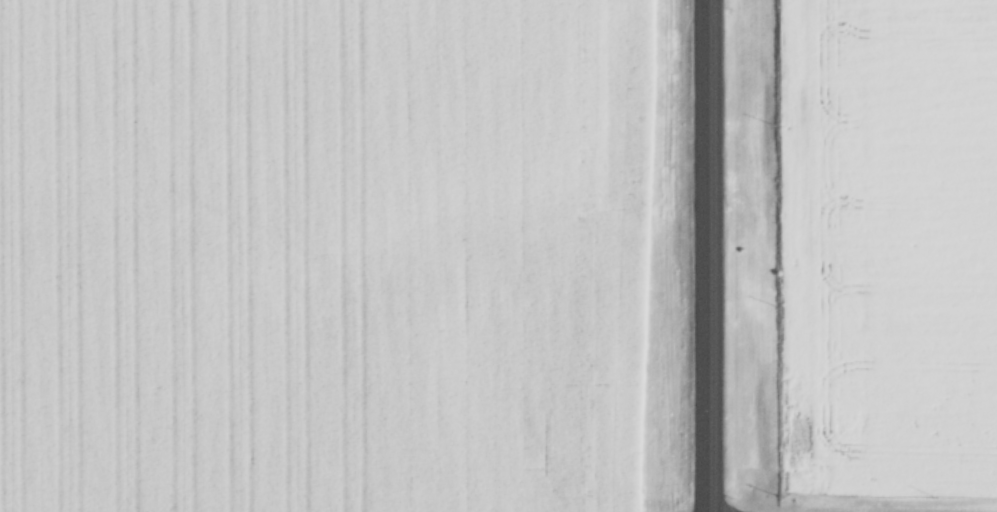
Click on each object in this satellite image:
road: (705, 256)

